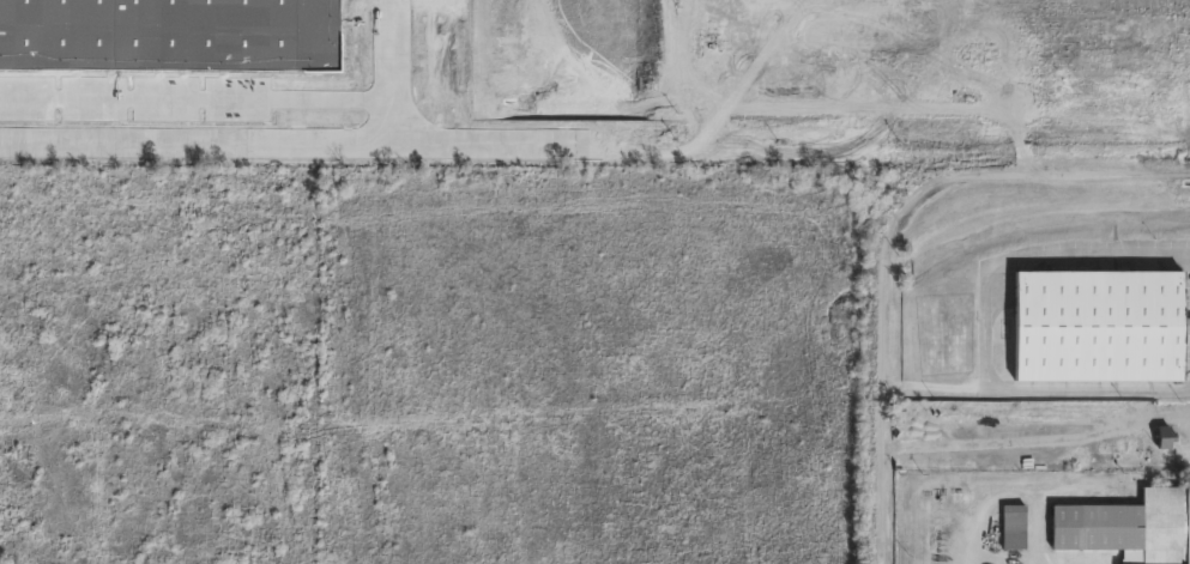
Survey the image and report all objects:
road: (898, 243)
road: (985, 325)
building: (1100, 326)
building: (1020, 420)
building: (1082, 420)
road: (1104, 435)
building: (1167, 437)
building: (1117, 453)
building: (1074, 457)
building: (1015, 528)
building: (1130, 528)

